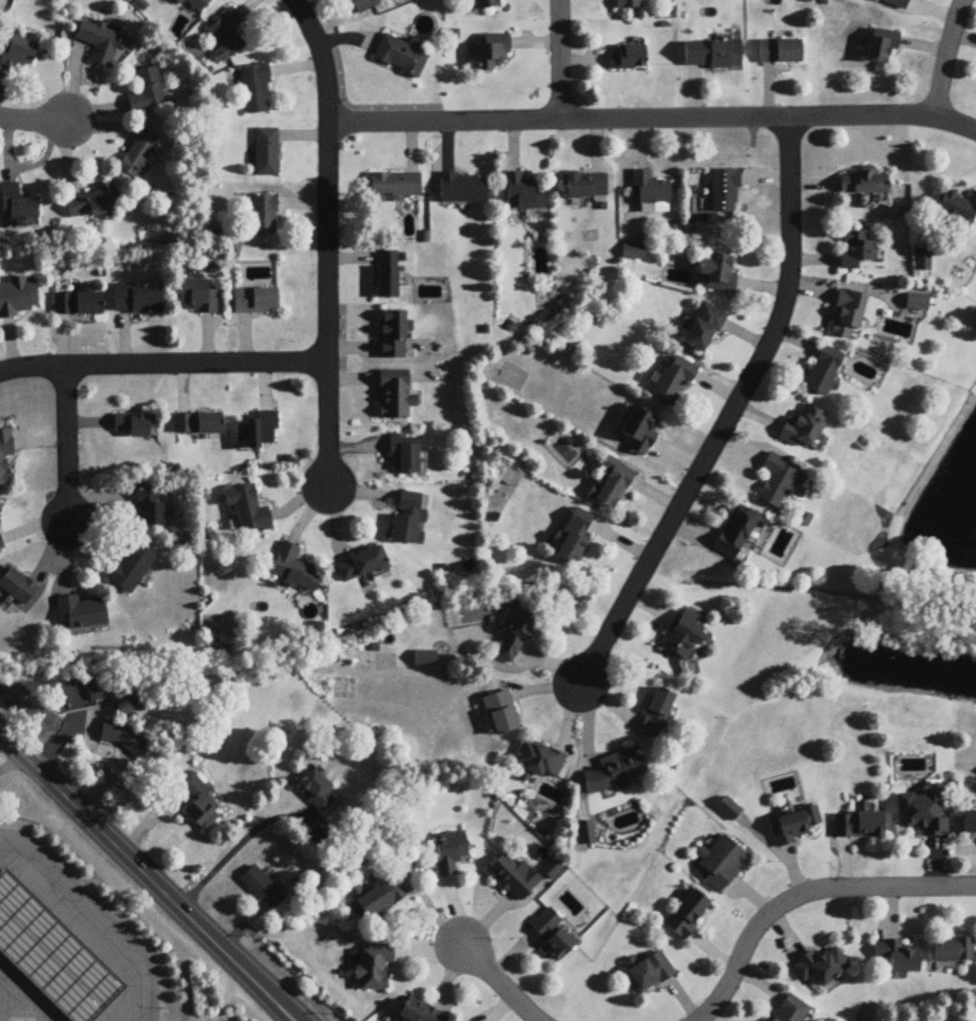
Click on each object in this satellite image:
building: (896, 3)
building: (194, 4)
building: (628, 4)
building: (365, 5)
building: (485, 5)
building: (226, 37)
building: (98, 43)
building: (881, 48)
building: (780, 52)
building: (493, 53)
building: (17, 55)
building: (712, 55)
building: (400, 57)
building: (627, 58)
road: (945, 58)
road: (560, 59)
building: (256, 90)
building: (147, 93)
road: (652, 119)
road: (33, 122)
building: (266, 153)
building: (138, 156)
building: (865, 184)
building: (395, 187)
building: (585, 187)
building: (462, 190)
building: (650, 191)
building: (725, 192)
building: (523, 194)
building: (17, 205)
building: (92, 205)
building: (958, 212)
building: (263, 215)
road: (326, 242)
building: (857, 252)
building: (718, 275)
building: (387, 277)
building: (19, 299)
building: (196, 299)
building: (138, 302)
building: (255, 302)
building: (917, 304)
building: (78, 306)
building: (847, 316)
building: (703, 330)
building: (392, 336)
road: (163, 365)
building: (824, 373)
building: (674, 383)
building: (396, 400)
road: (729, 414)
building: (197, 426)
building: (135, 427)
building: (804, 429)
building: (640, 432)
building: (258, 434)
road: (66, 446)
building: (5, 455)
building: (403, 455)
building: (778, 484)
building: (610, 485)
building: (150, 509)
building: (247, 511)
building: (408, 521)
building: (736, 535)
building: (574, 538)
building: (361, 567)
building: (132, 570)
building: (293, 570)
building: (16, 589)
building: (80, 613)
building: (517, 637)
building: (683, 637)
building: (424, 660)
building: (128, 706)
building: (501, 714)
building: (656, 715)
building: (124, 739)
building: (538, 761)
road: (10, 764)
building: (615, 772)
building: (316, 790)
building: (197, 802)
building: (922, 813)
building: (969, 823)
building: (858, 825)
building: (794, 826)
building: (585, 834)
road: (236, 848)
building: (449, 853)
building: (722, 864)
building: (552, 870)
building: (513, 878)
road: (145, 879)
building: (262, 888)
road: (806, 895)
building: (377, 899)
building: (687, 915)
building: (553, 933)
building: (953, 951)
building: (51, 955)
building: (897, 957)
building: (373, 967)
building: (821, 967)
building: (650, 973)
road: (501, 984)
building: (792, 1011)
building: (418, 1013)
parking lot: (223, 1018)

